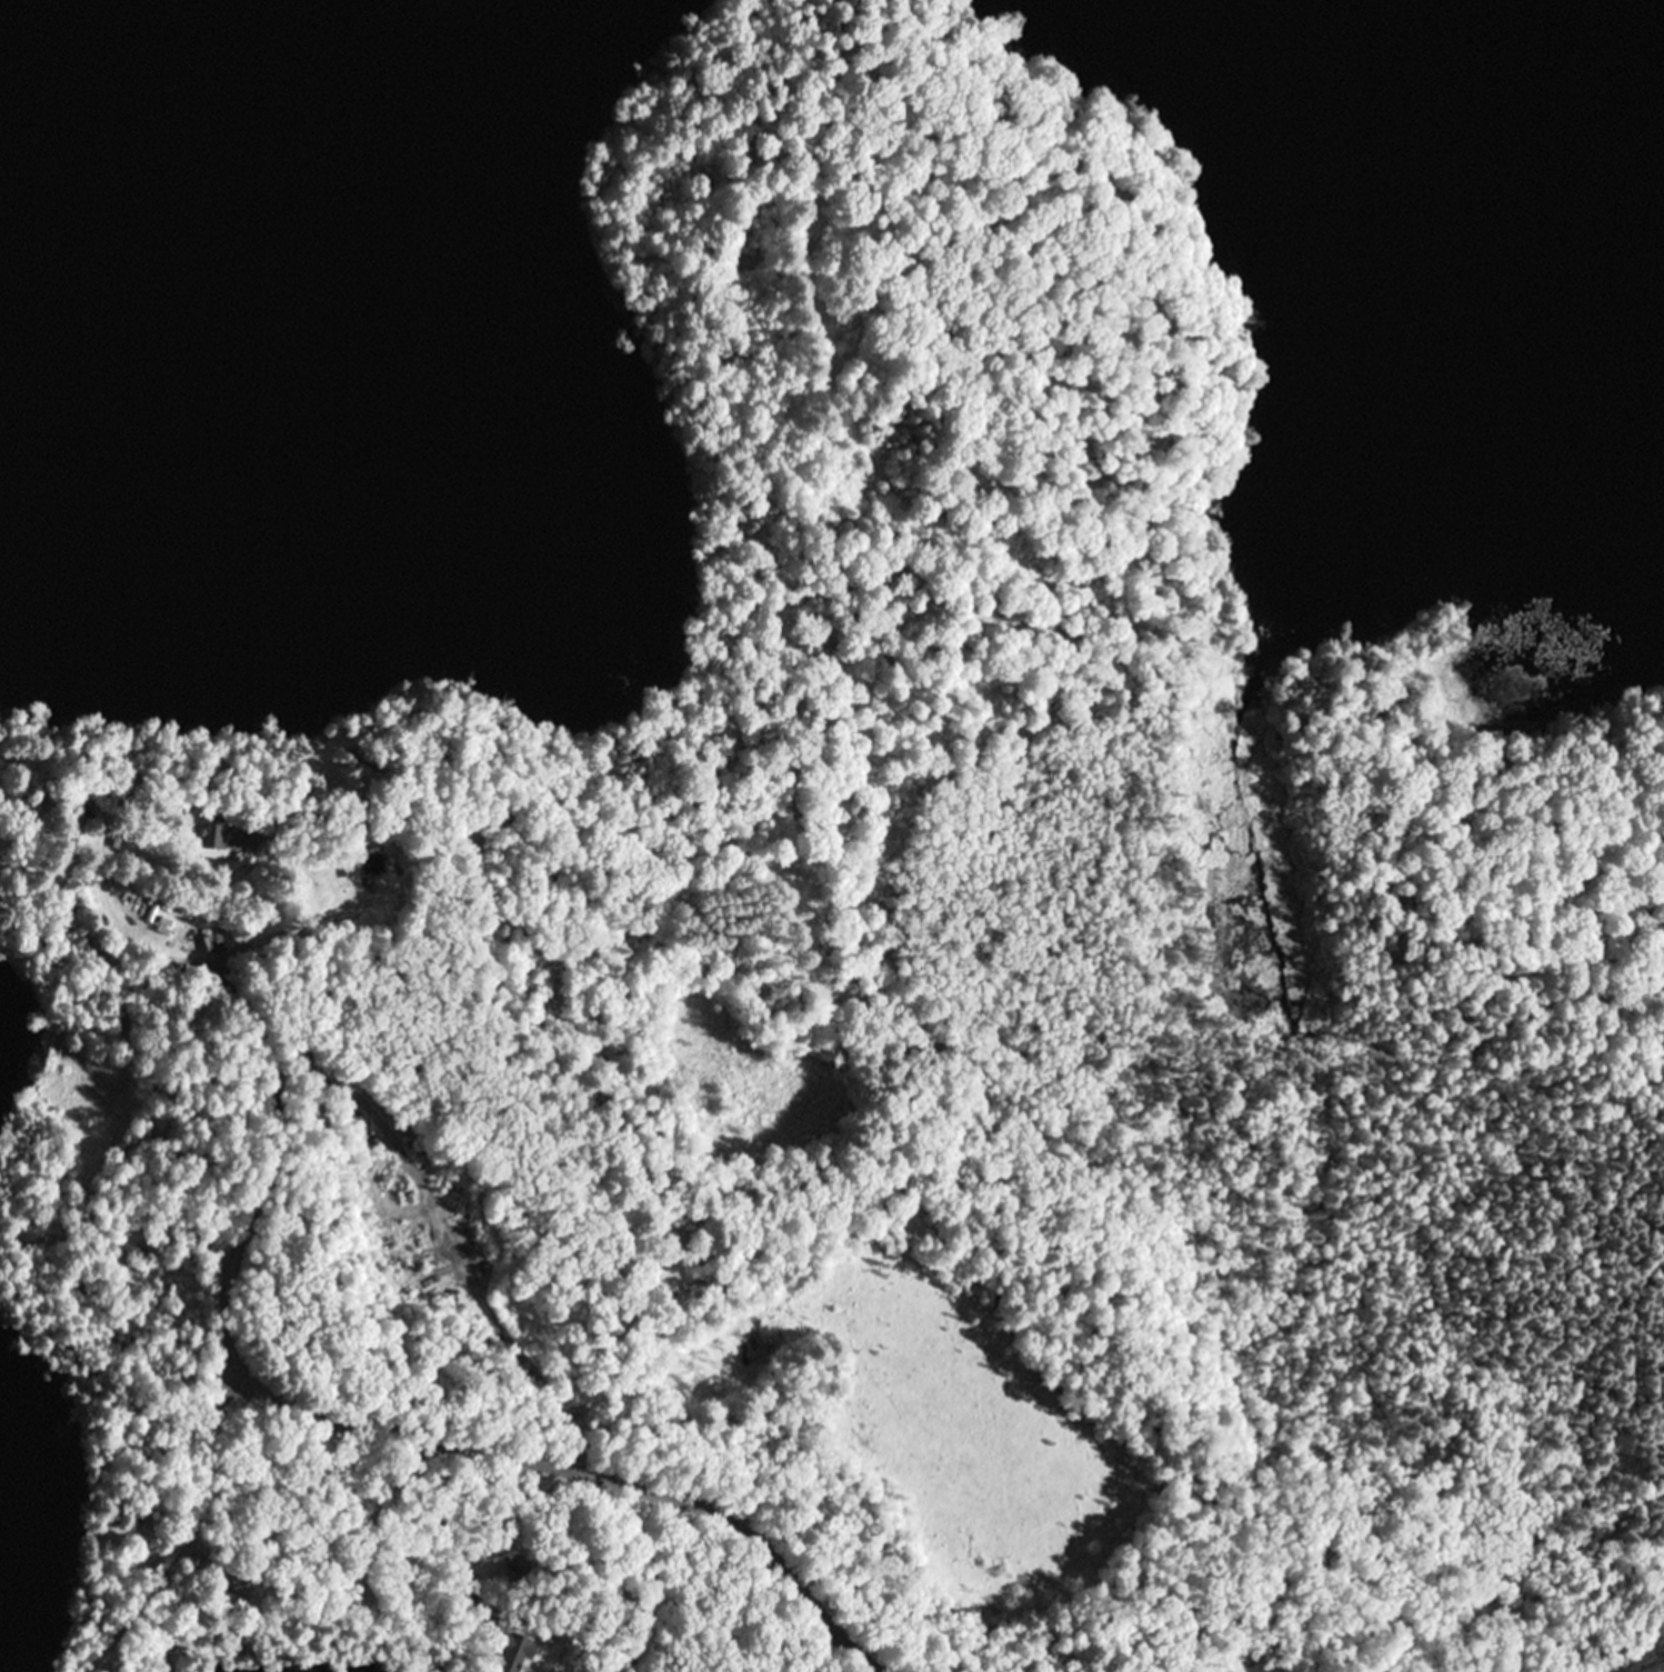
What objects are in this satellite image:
road: (36, 804)
road: (90, 1072)
road: (325, 1075)
road: (289, 1394)
road: (323, 1526)
road: (176, 1528)
road: (403, 1536)
road: (690, 1595)

